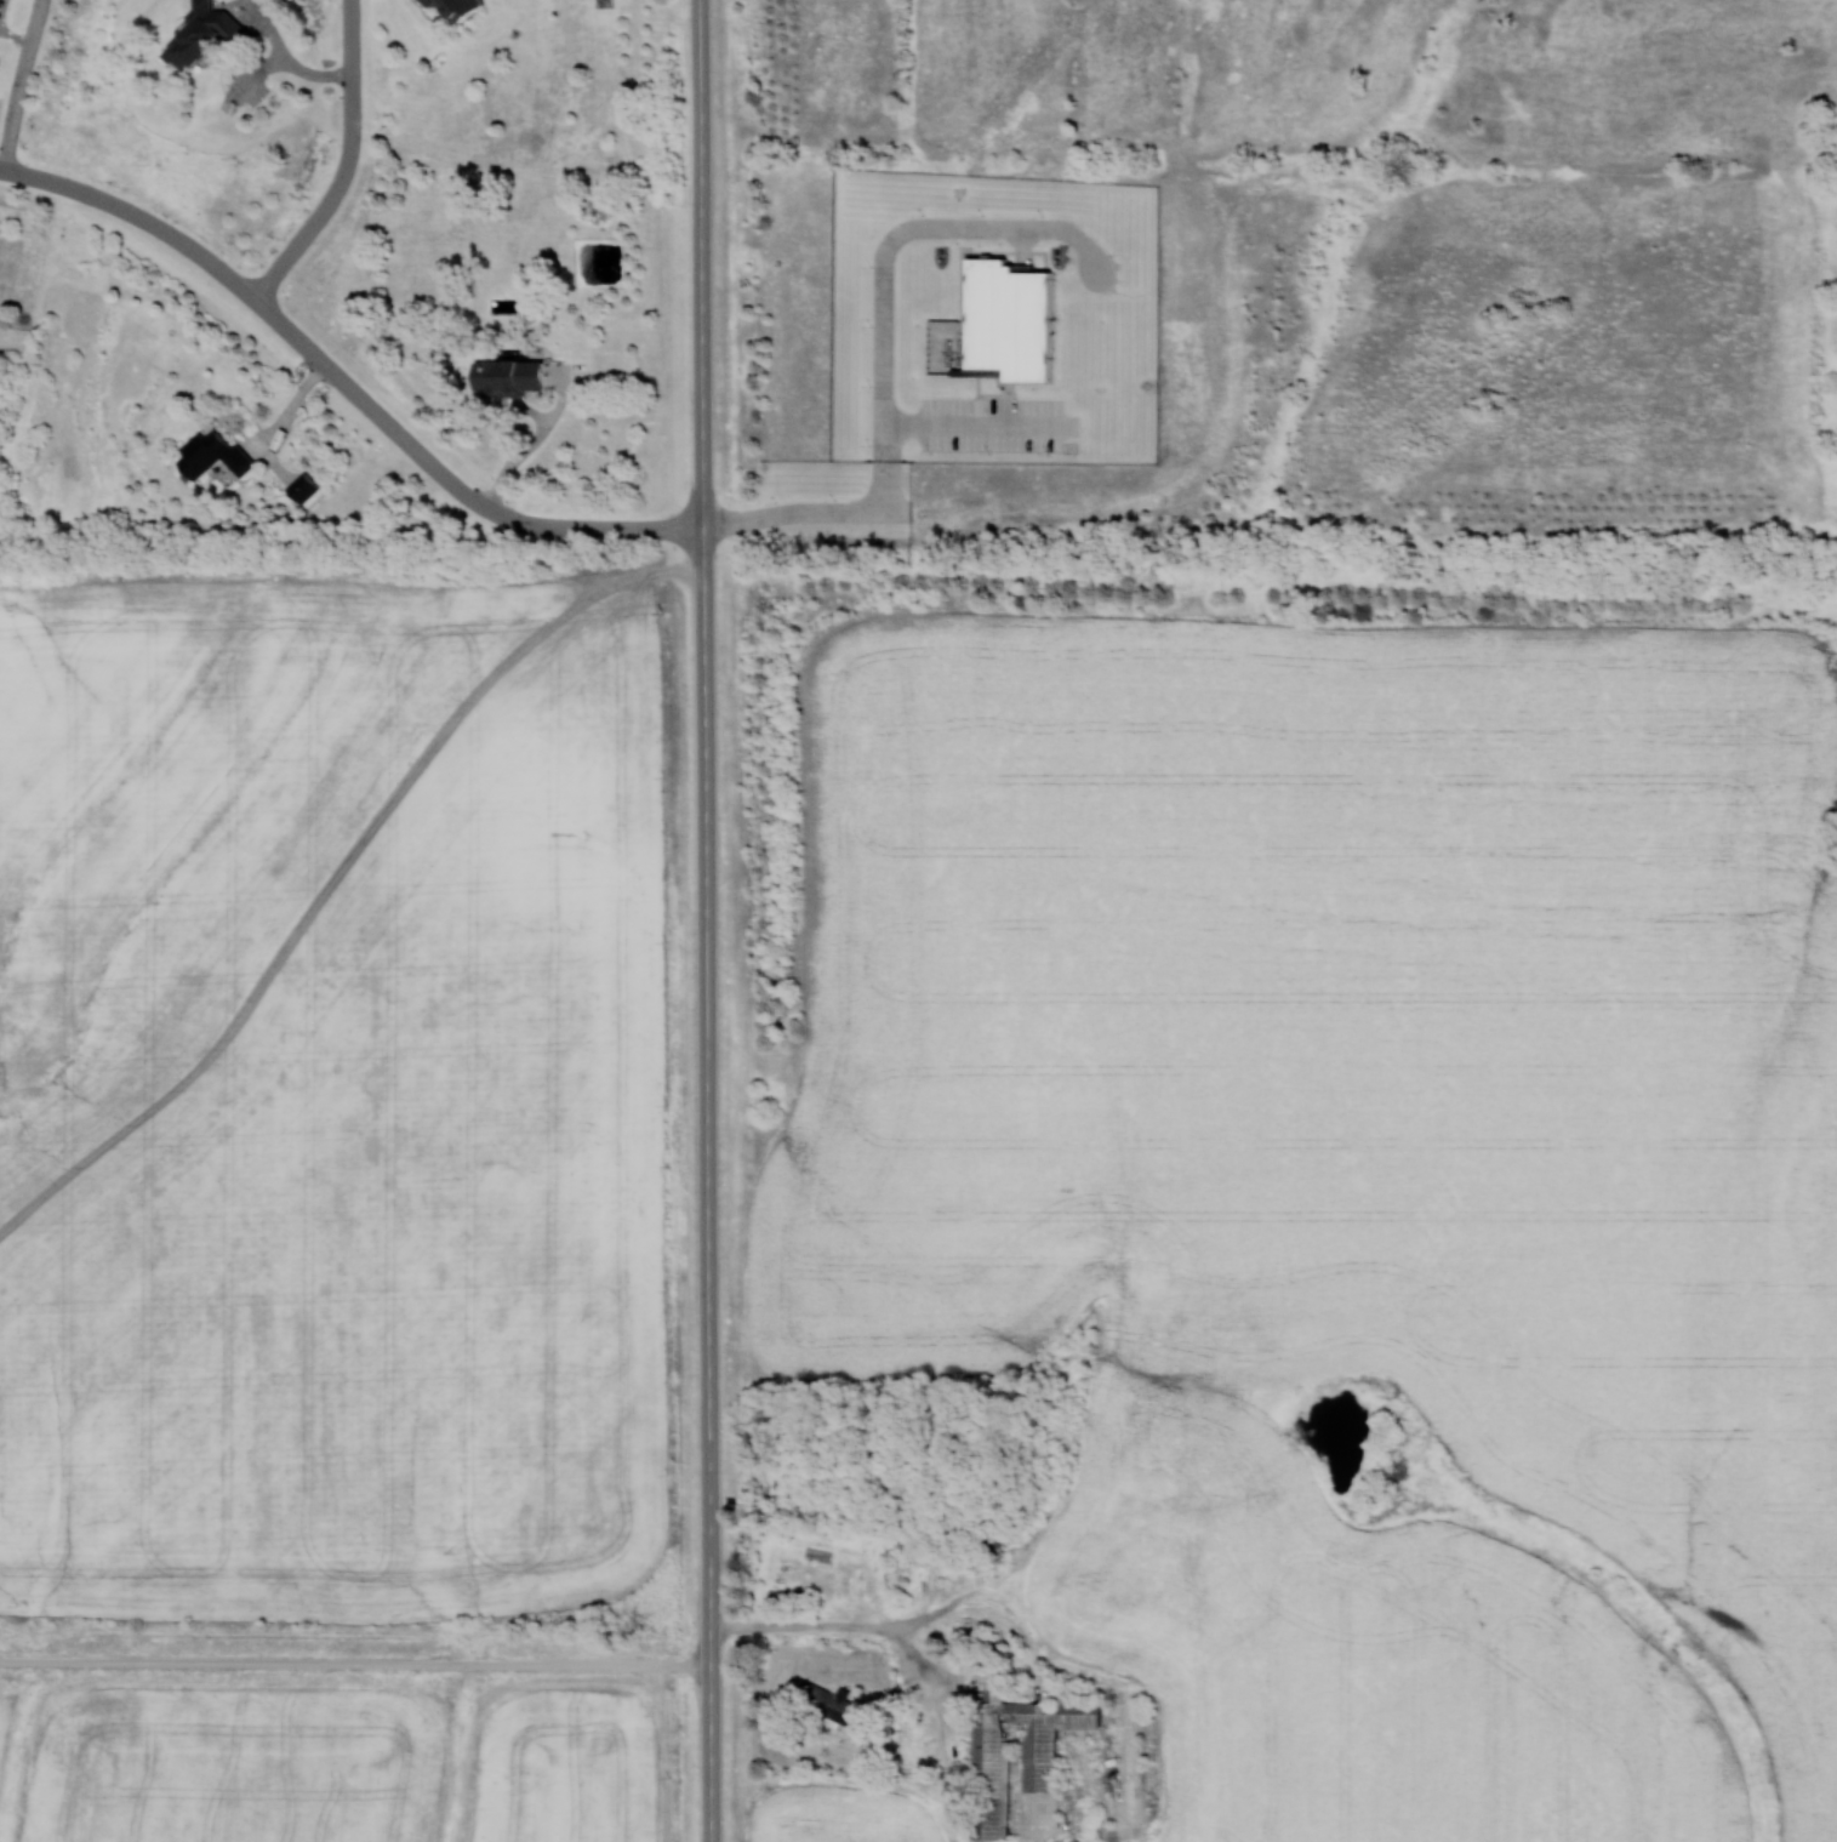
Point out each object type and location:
building: (0, 1)
building: (452, 7)
building: (200, 36)
road: (287, 57)
road: (22, 85)
road: (348, 164)
building: (1004, 316)
building: (504, 375)
road: (343, 381)
road: (884, 398)
road: (291, 400)
road: (532, 444)
building: (210, 454)
building: (299, 486)
road: (706, 920)
building: (785, 1595)
road: (839, 1627)
road: (354, 1663)
building: (827, 1704)
building: (1015, 1756)

